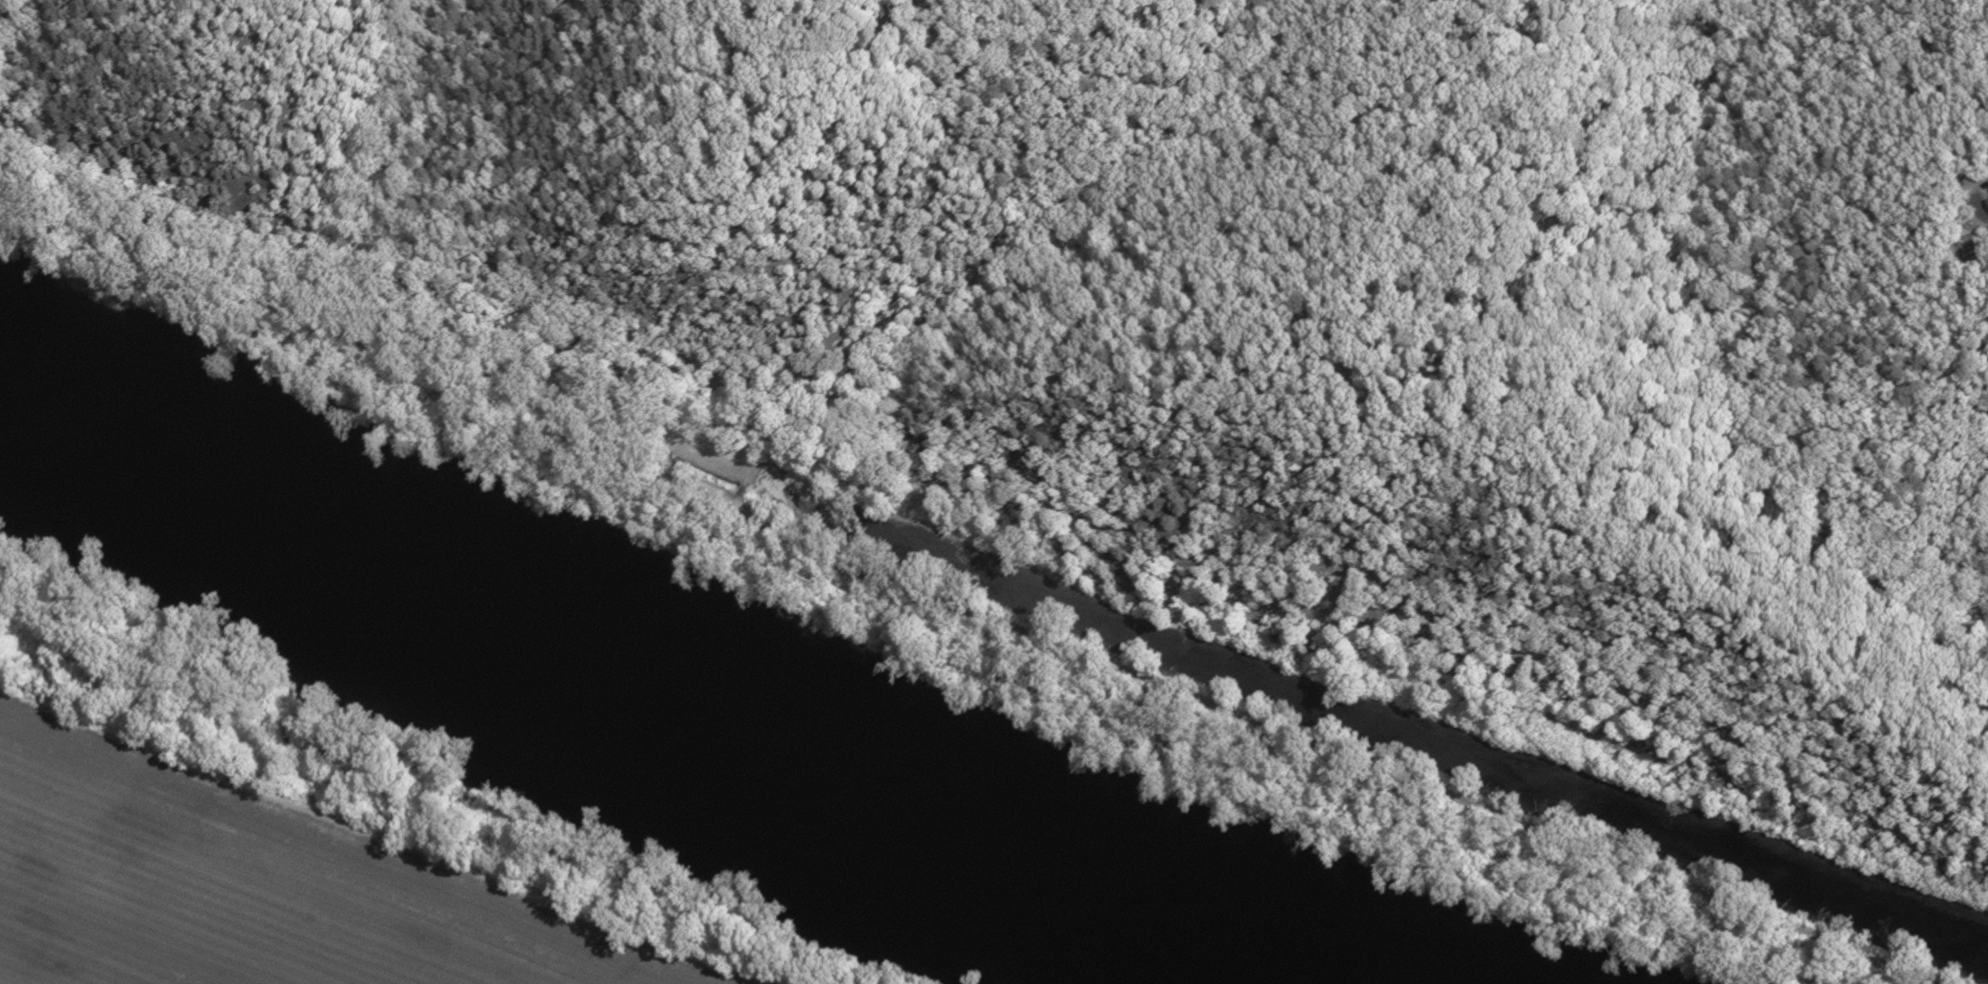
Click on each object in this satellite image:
road: (1986, 217)
road: (484, 279)
road: (740, 491)
road: (736, 503)
road: (954, 610)
river: (656, 674)

